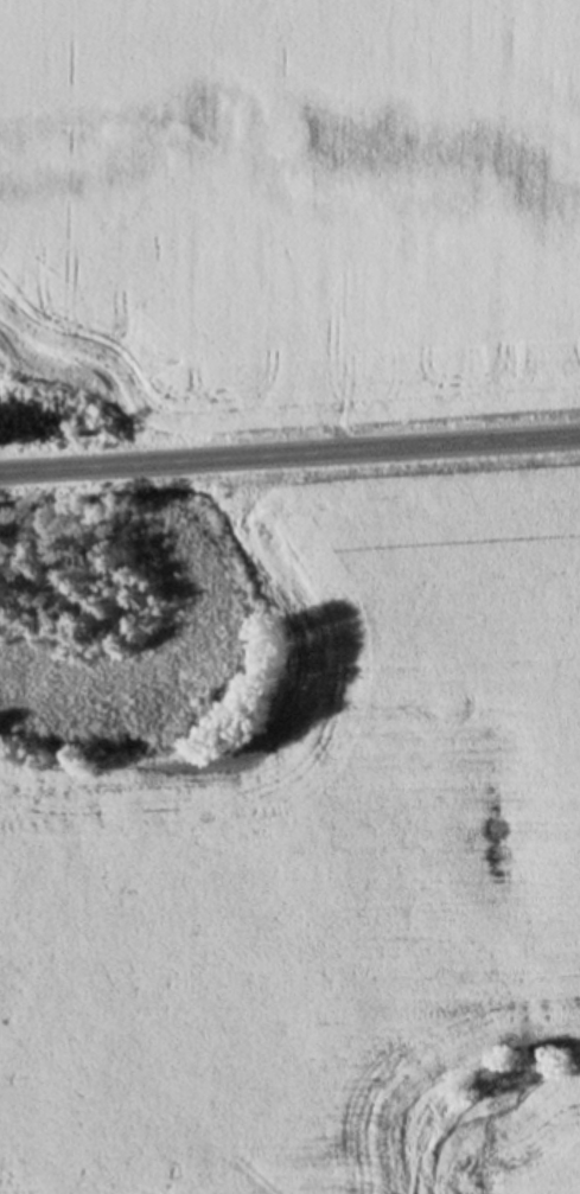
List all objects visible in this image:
road: (289, 453)

